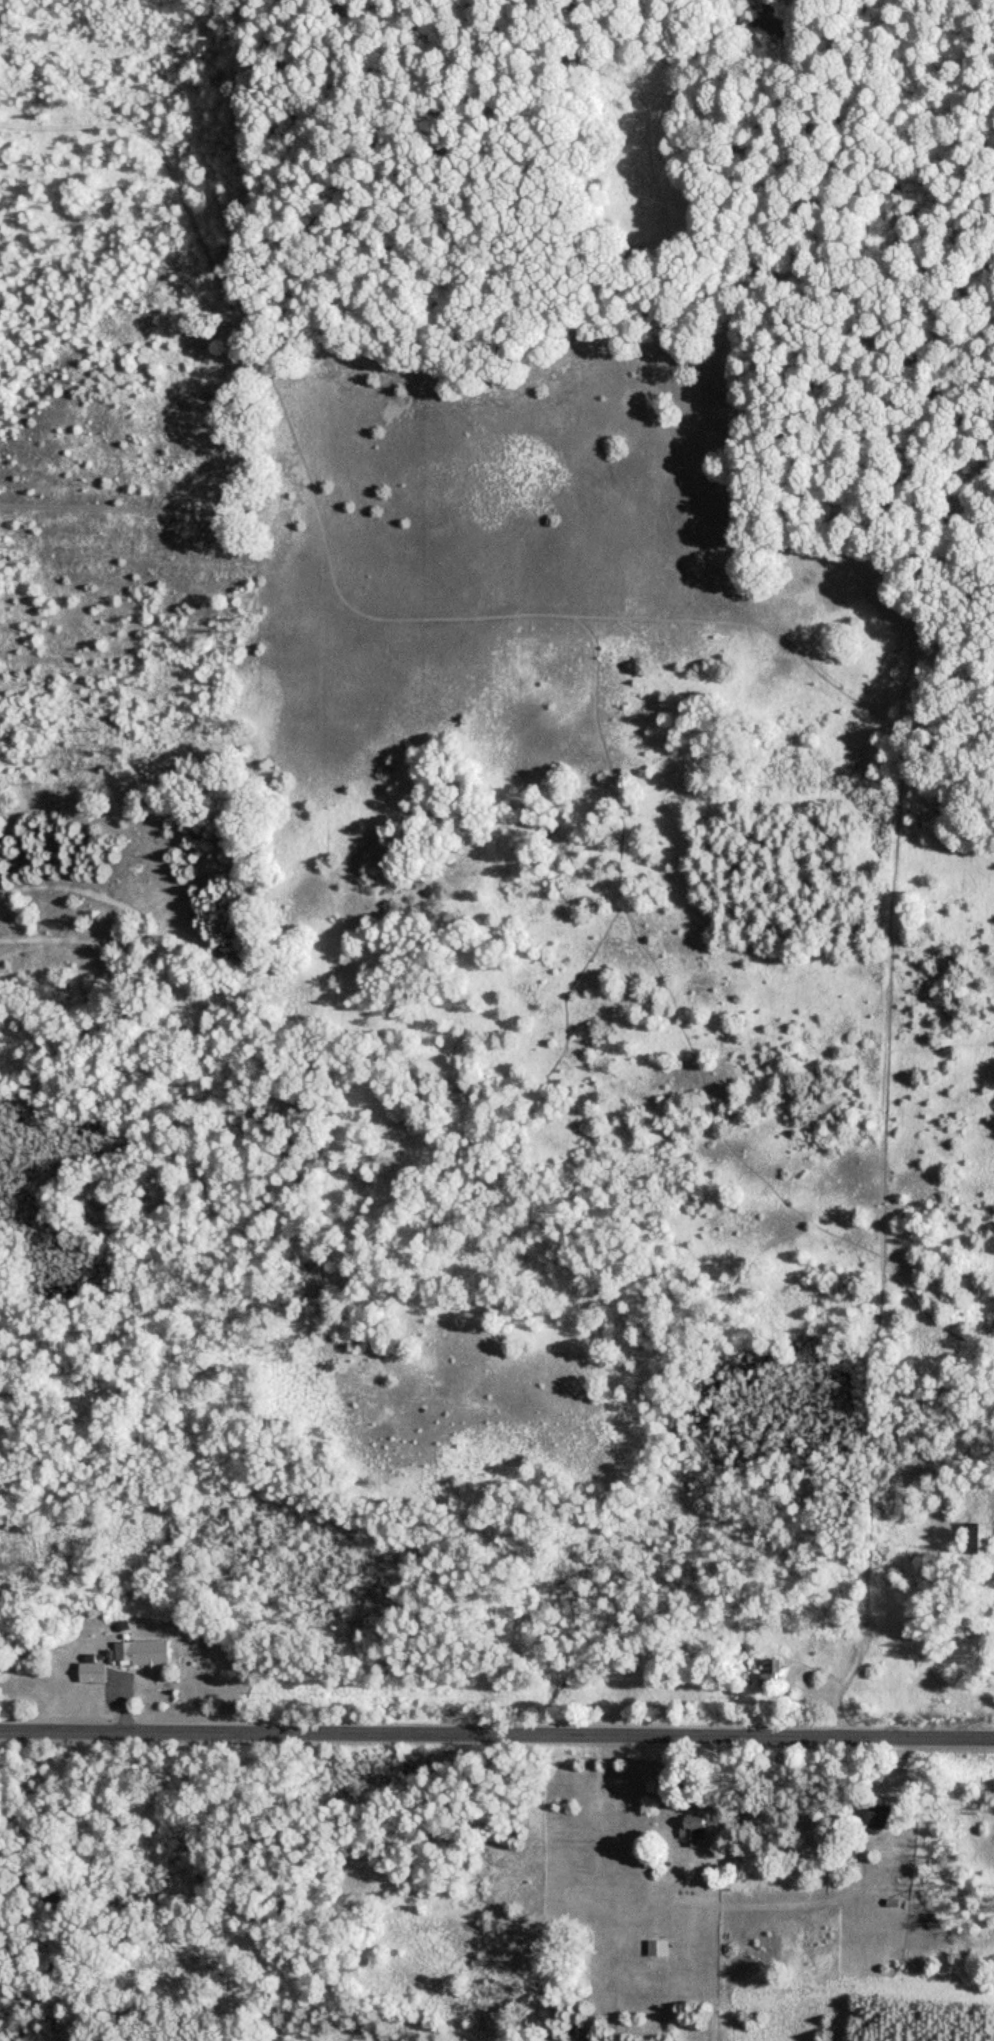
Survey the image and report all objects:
building: (980, 1538)
building: (144, 1652)
building: (93, 1671)
building: (773, 1672)
road: (497, 1734)
building: (882, 1816)
building: (694, 1829)
building: (659, 1949)

